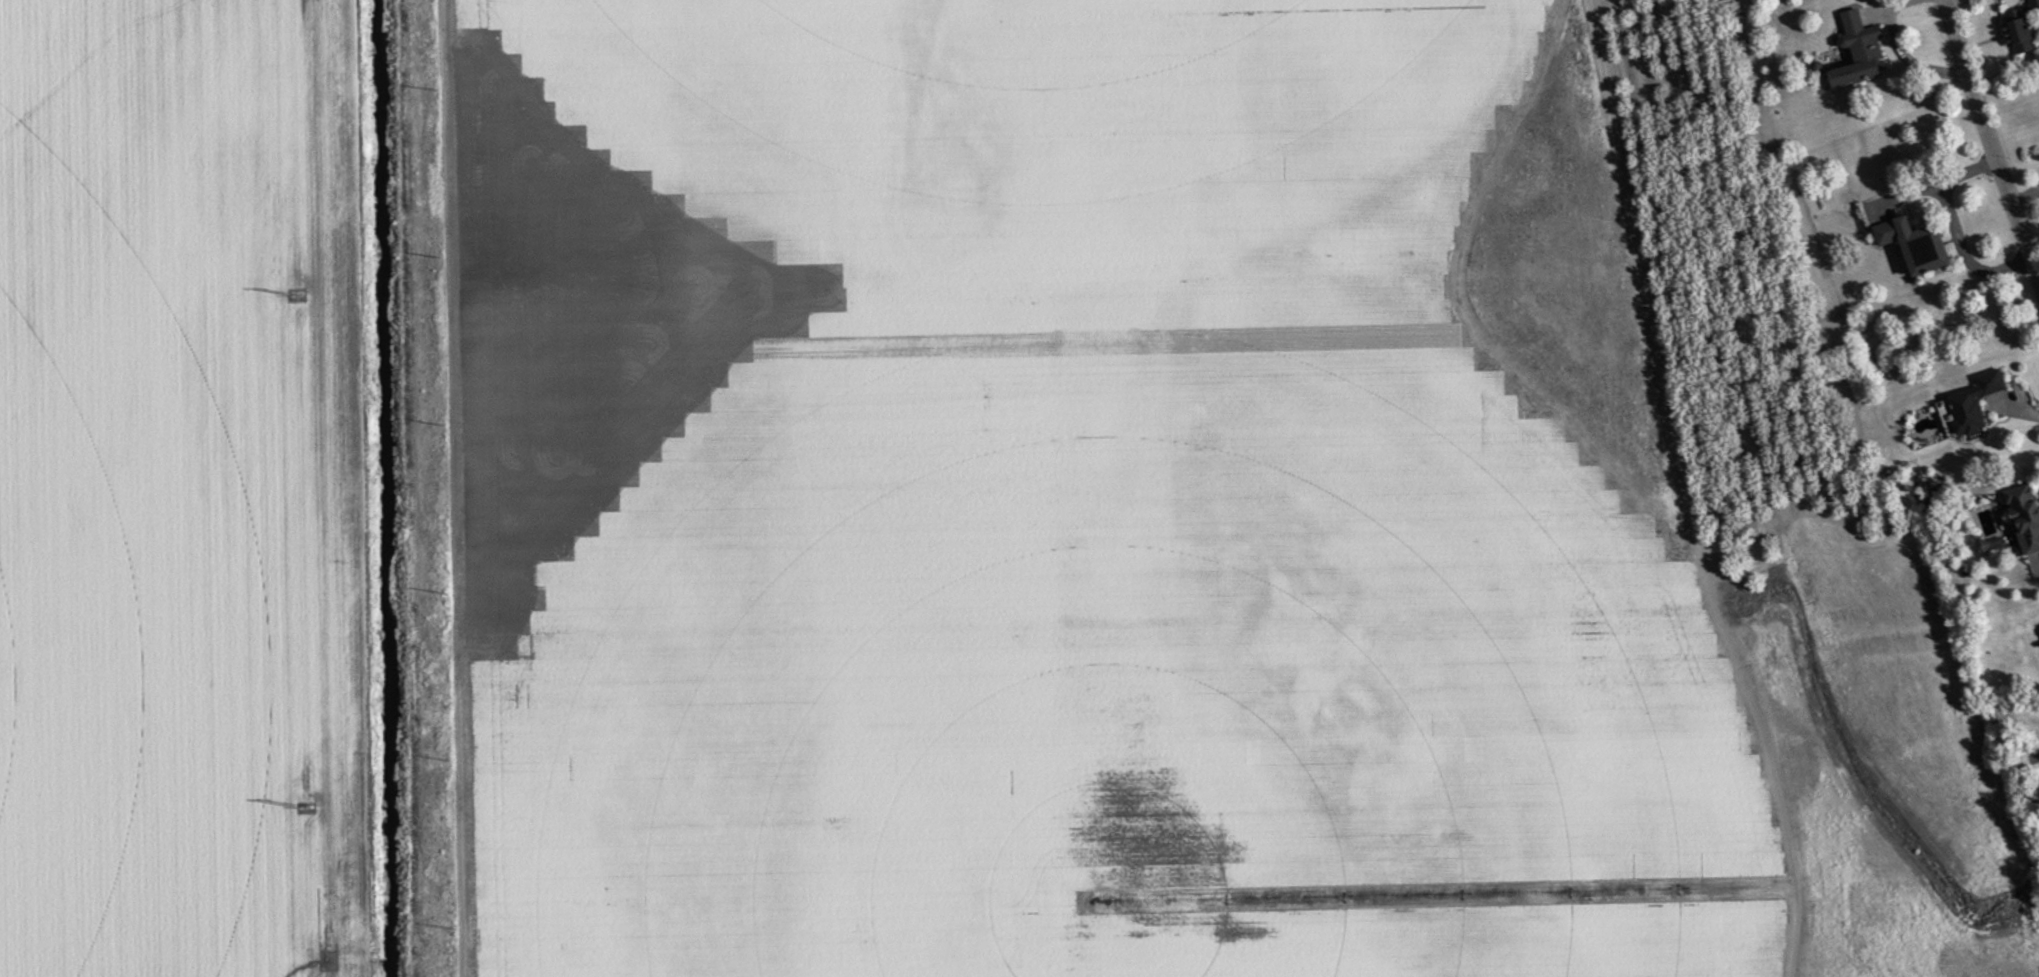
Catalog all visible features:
building: (2024, 26)
building: (1864, 48)
road: (1990, 134)
building: (1921, 242)
building: (1979, 398)
building: (2029, 512)

